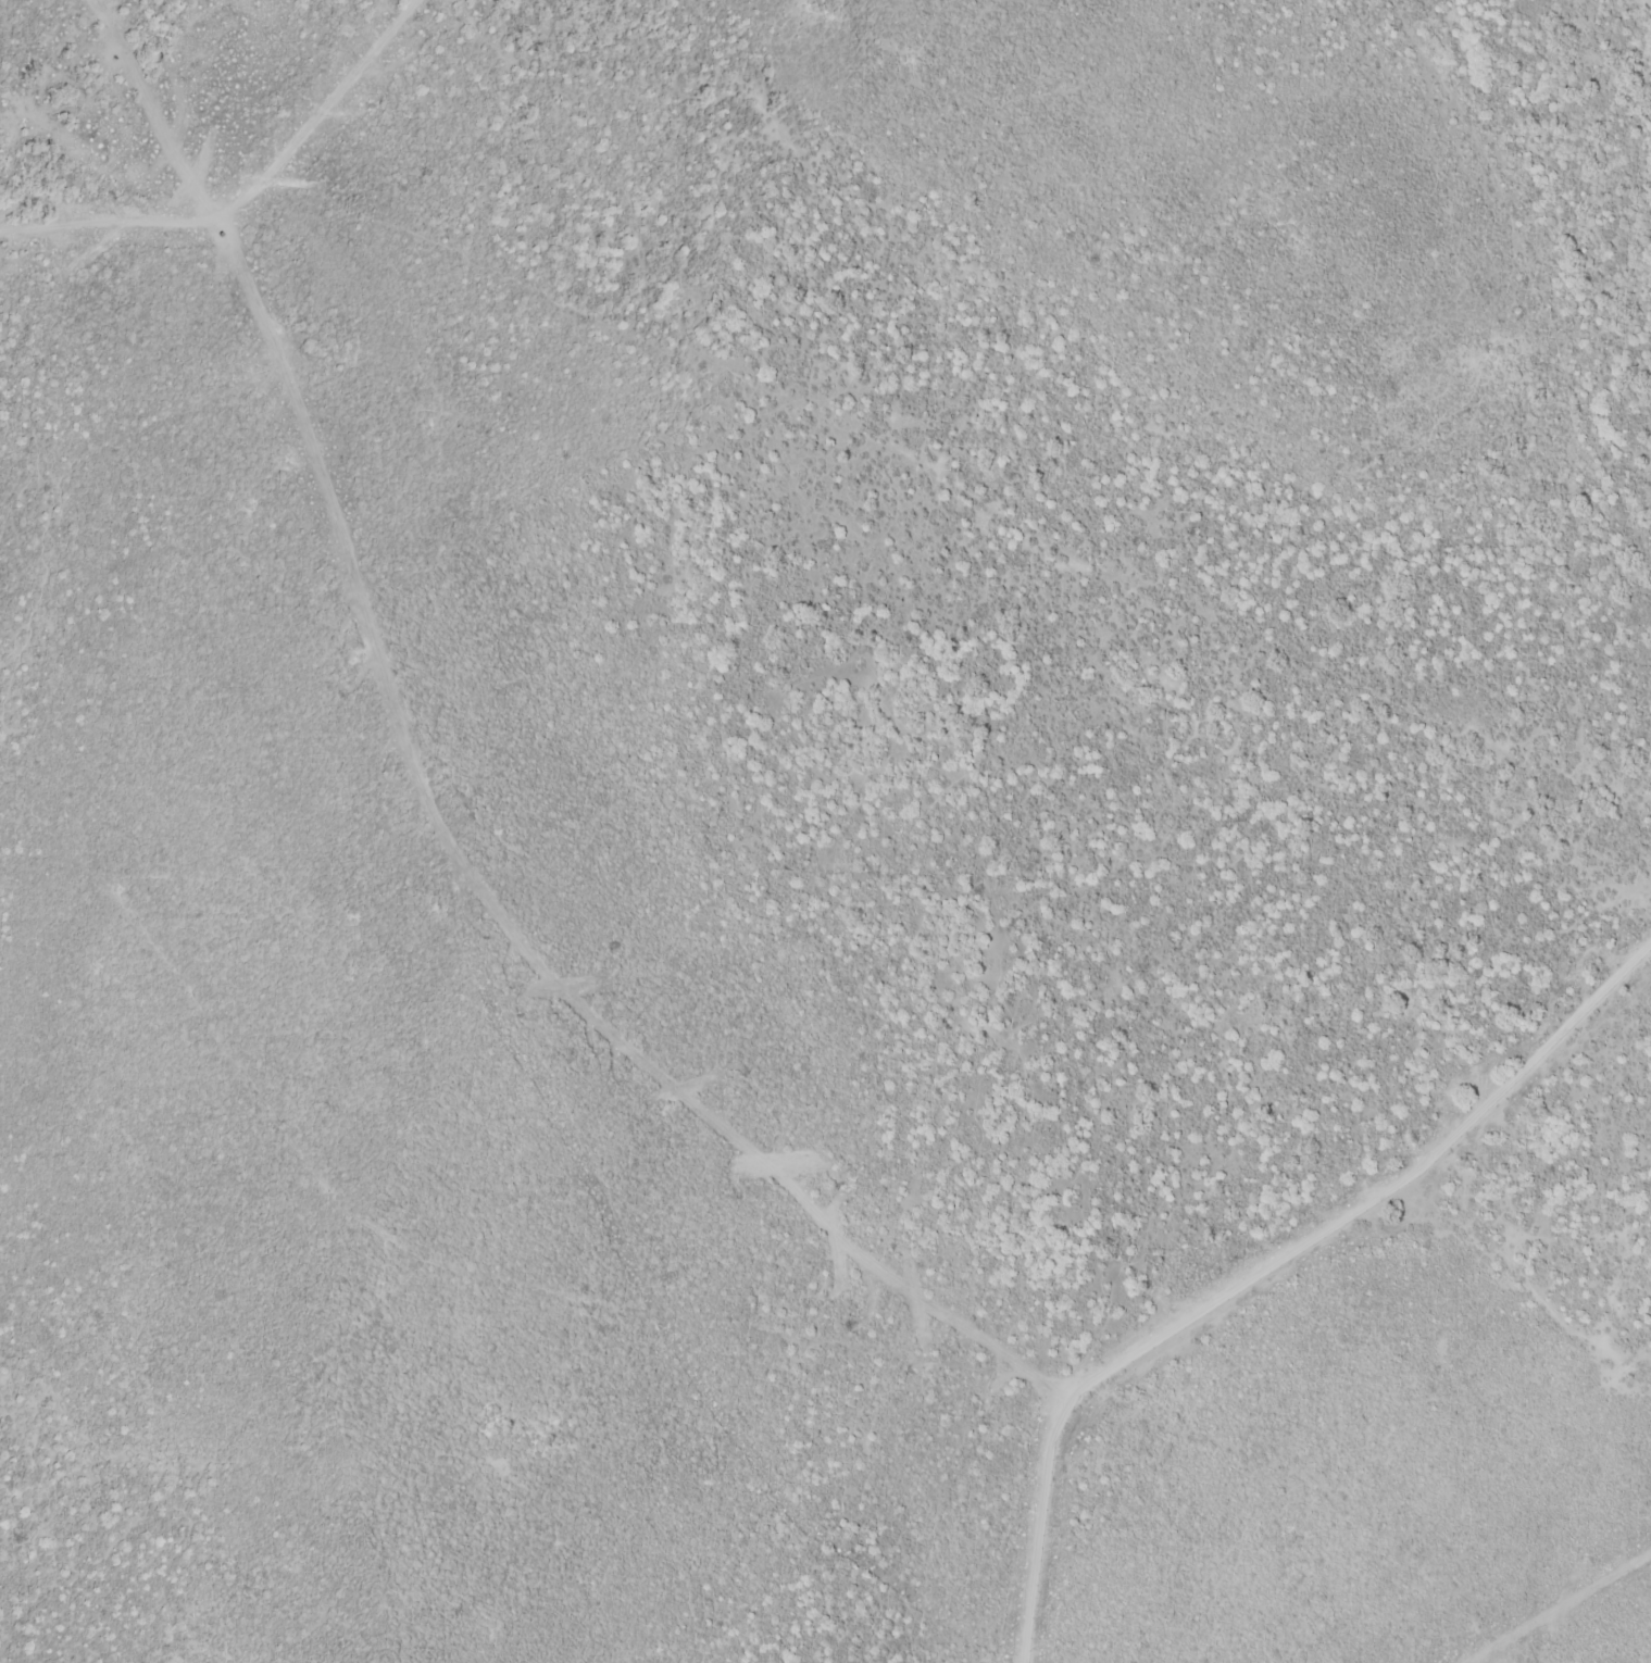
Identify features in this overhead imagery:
road: (1649, 1)
road: (759, 1331)
road: (1042, 1520)

